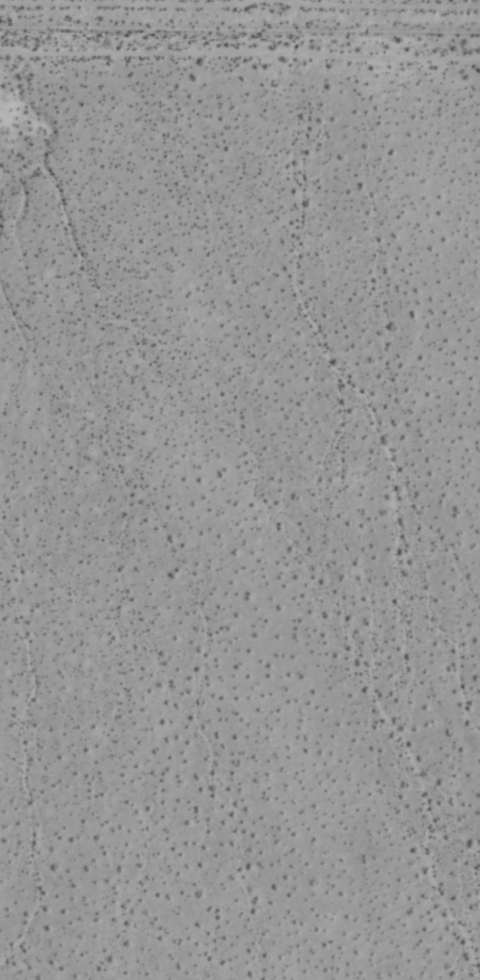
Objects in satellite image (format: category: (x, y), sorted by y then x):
road: (240, 12)

